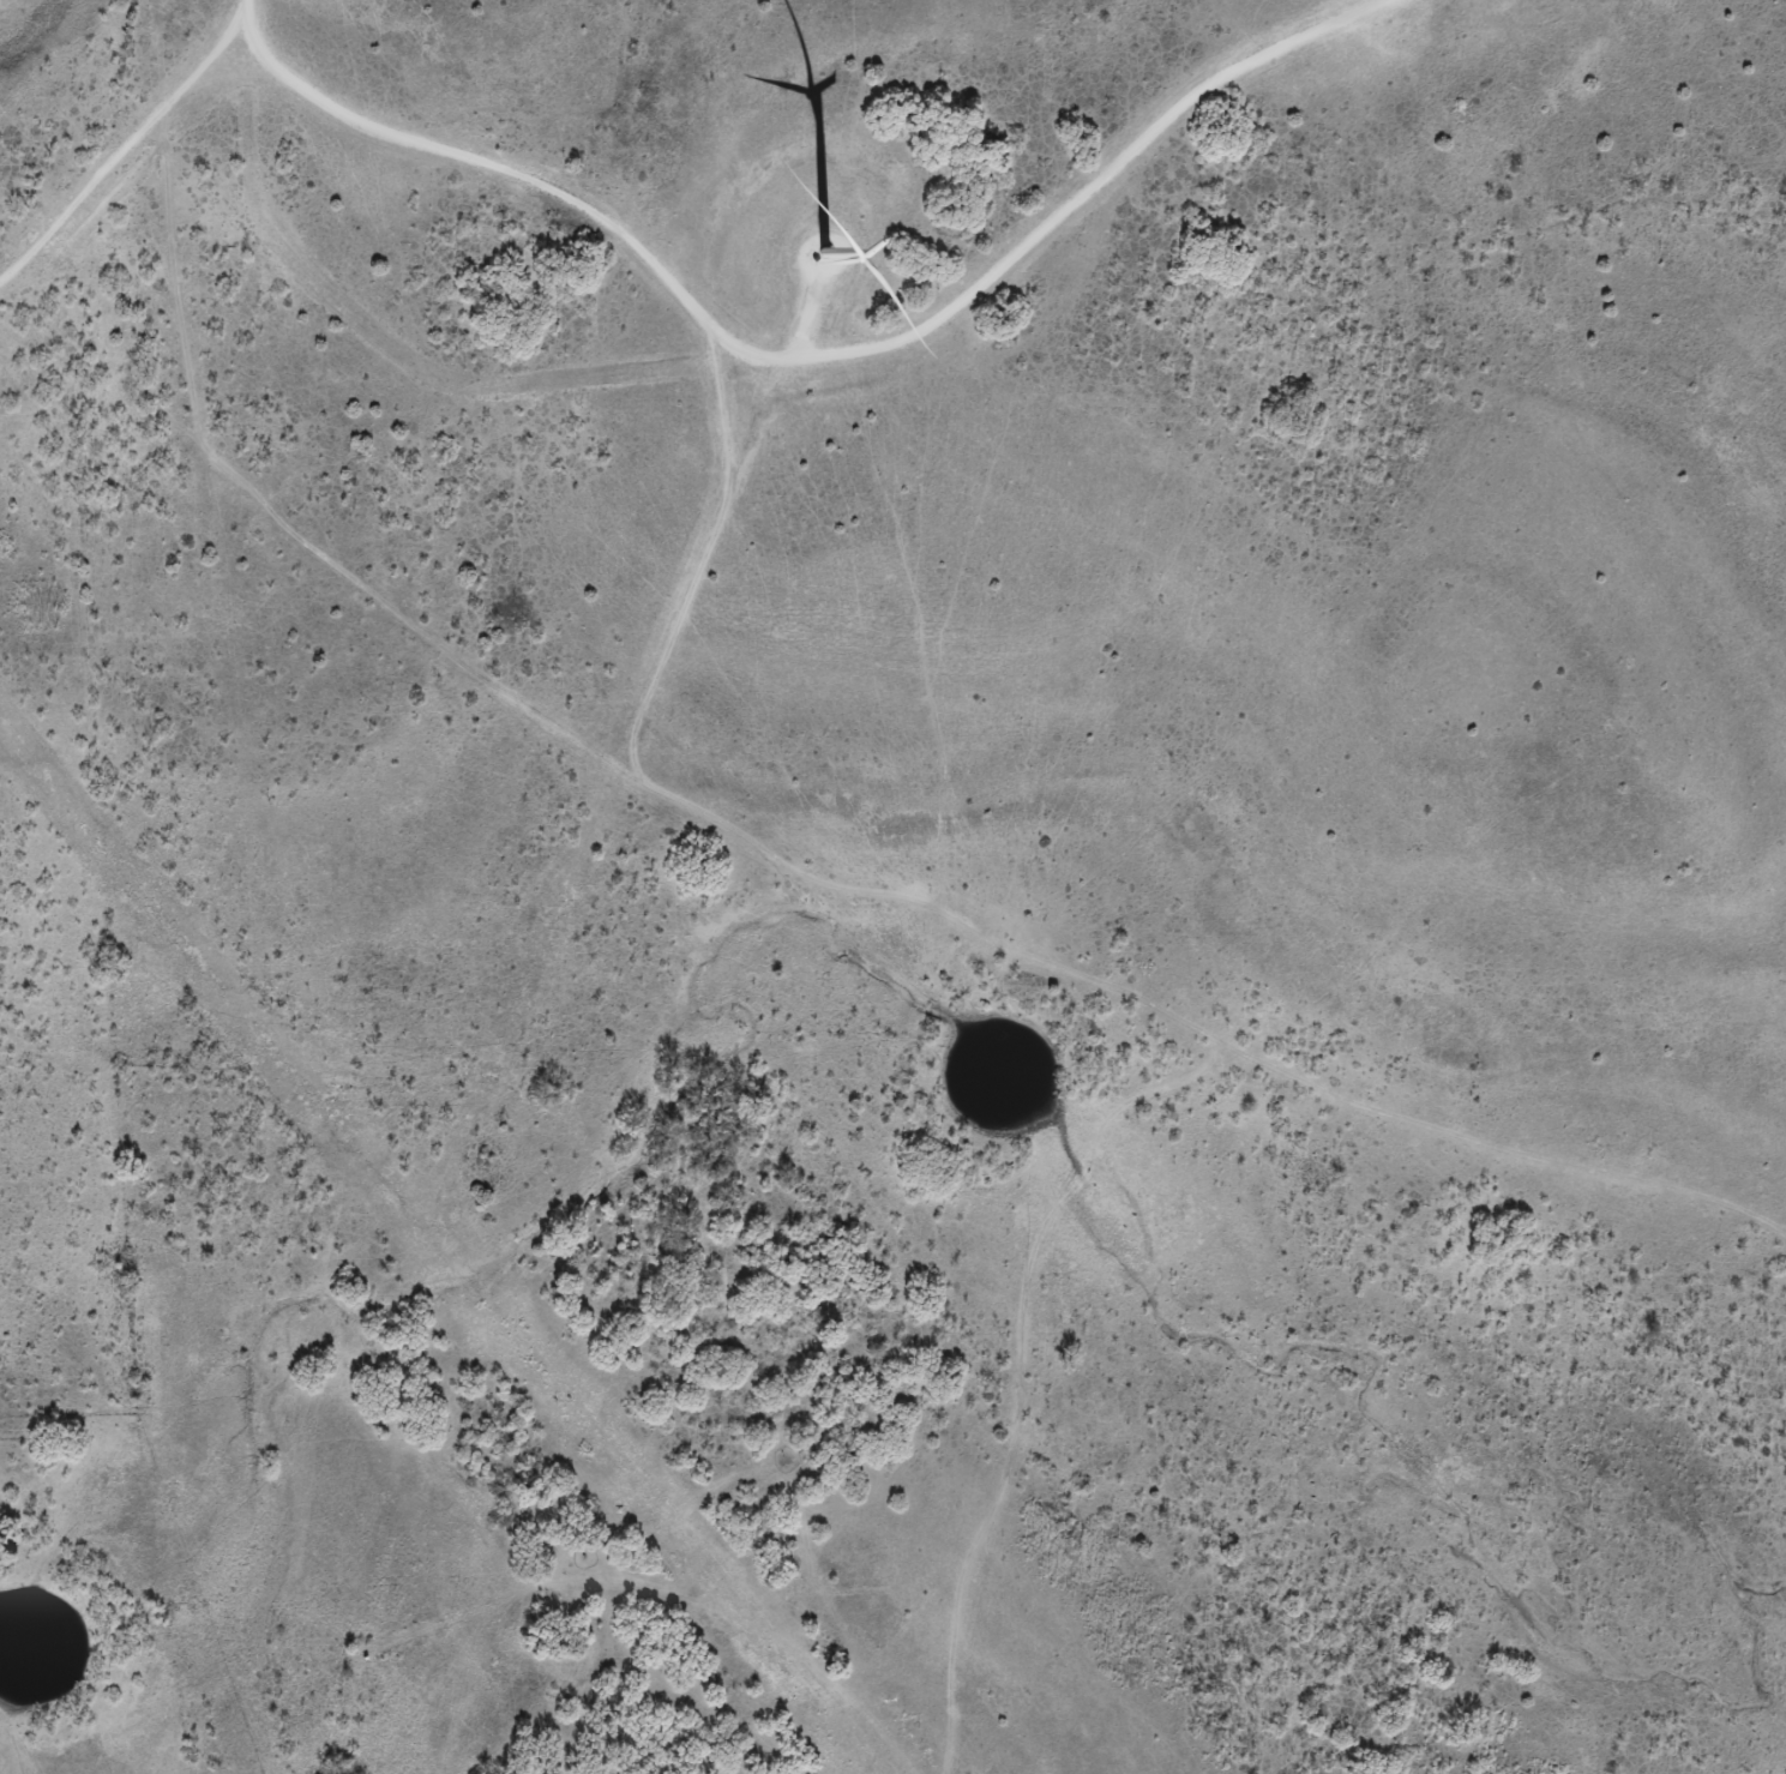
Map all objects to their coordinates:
road: (249, 6)
road: (125, 144)
wind turbine: (828, 252)
road: (806, 354)

